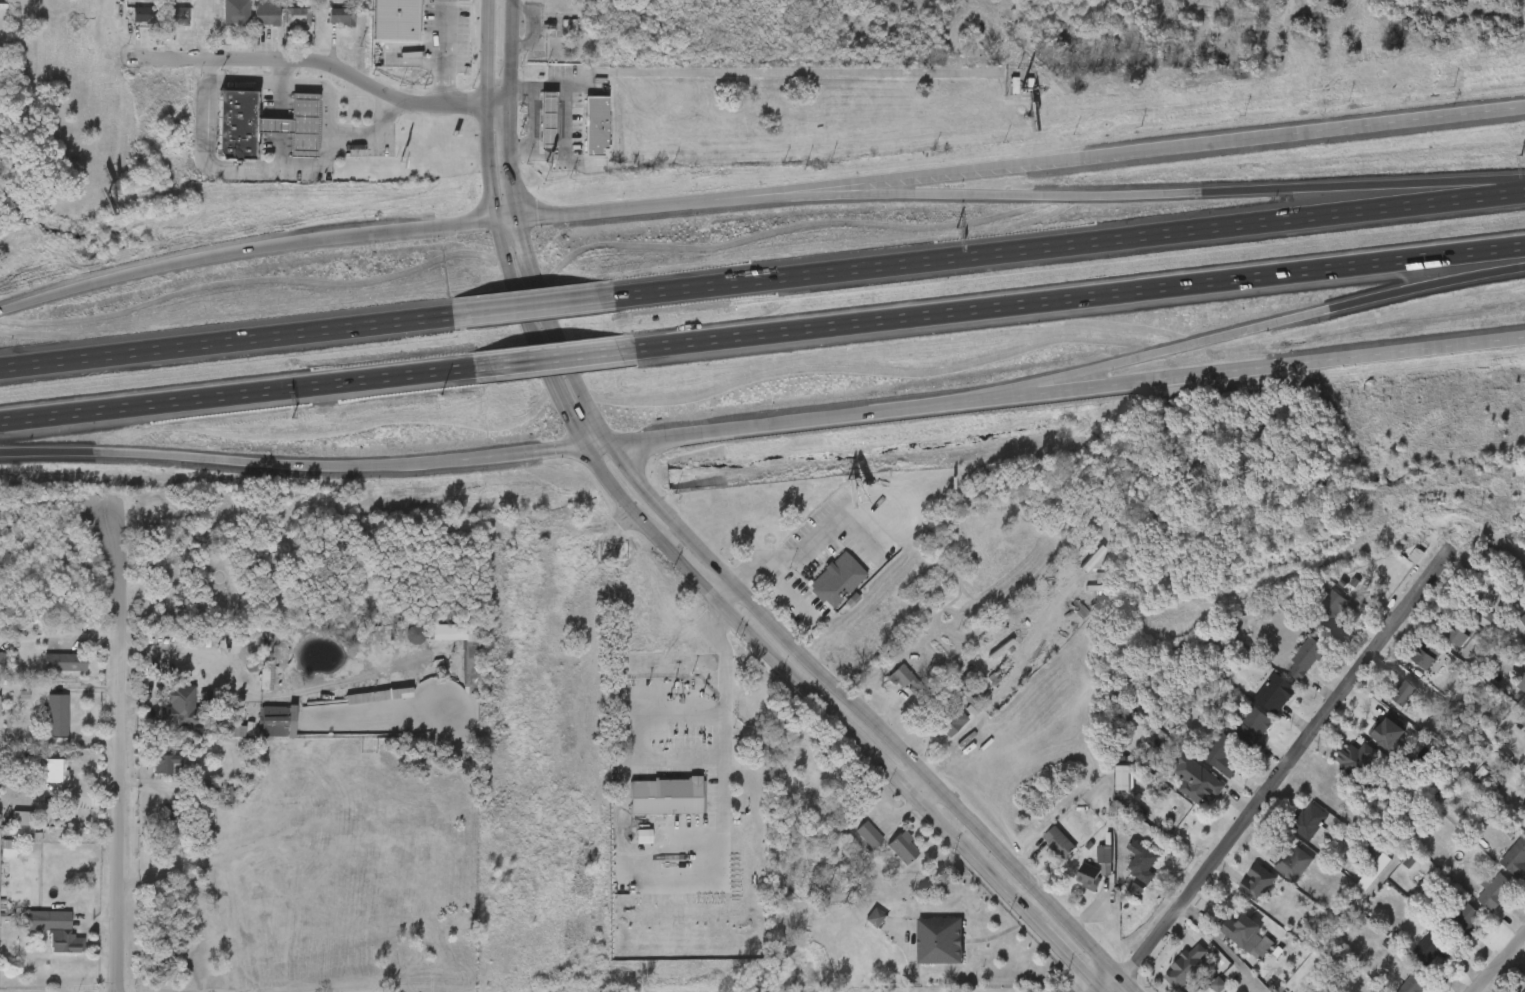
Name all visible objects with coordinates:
building: (257, 0)
building: (220, 21)
building: (128, 24)
building: (250, 24)
building: (161, 25)
building: (378, 25)
building: (282, 27)
building: (324, 28)
road: (444, 52)
road: (312, 58)
road: (284, 70)
road: (296, 82)
road: (570, 117)
road: (532, 118)
building: (531, 131)
gas station: (531, 131)
building: (280, 134)
gas station: (280, 134)
building: (219, 135)
building: (579, 135)
road: (1108, 153)
road: (281, 169)
road: (1108, 194)
road: (604, 208)
road: (504, 218)
road: (1072, 242)
road: (242, 248)
road: (1079, 295)
road: (540, 305)
road: (1267, 323)
road: (230, 340)
road: (559, 356)
road: (1053, 387)
road: (242, 392)
road: (291, 465)
road: (808, 532)
road: (702, 552)
road: (672, 554)
building: (819, 589)
road: (726, 594)
building: (1332, 607)
building: (1313, 620)
building: (1522, 623)
building: (1462, 631)
building: (1514, 636)
building: (1440, 646)
building: (856, 649)
building: (1429, 654)
building: (1304, 658)
building: (64, 661)
building: (1409, 665)
building: (1288, 668)
building: (48, 672)
building: (455, 675)
road: (727, 682)
building: (250, 686)
building: (1509, 690)
building: (891, 692)
building: (1405, 692)
building: (1273, 694)
building: (1258, 703)
building: (1387, 703)
building: (184, 707)
road: (1517, 707)
building: (56, 713)
building: (164, 718)
building: (274, 721)
building: (1254, 724)
building: (41, 725)
building: (934, 730)
building: (260, 731)
building: (1236, 735)
building: (1370, 742)
road: (113, 754)
building: (1138, 754)
building: (1222, 754)
building: (166, 763)
building: (1524, 764)
building: (1204, 765)
building: (53, 766)
building: (1338, 769)
building: (148, 773)
road: (1281, 774)
building: (38, 780)
building: (1202, 786)
building: (206, 787)
building: (1178, 788)
road: (915, 791)
building: (667, 795)
building: (1310, 822)
building: (6, 827)
building: (1291, 831)
building: (1519, 837)
building: (852, 844)
building: (0, 851)
building: (1041, 852)
building: (1072, 854)
building: (886, 857)
building: (1516, 859)
building: (1295, 863)
building: (1087, 866)
building: (1501, 867)
building: (1277, 874)
building: (1123, 877)
building: (1258, 882)
building: (1071, 887)
building: (1240, 892)
building: (1496, 892)
building: (1477, 901)
building: (1465, 922)
building: (858, 927)
building: (1448, 929)
building: (63, 935)
building: (38, 939)
building: (1225, 942)
road: (1224, 947)
building: (1433, 947)
building: (922, 951)
building: (1246, 956)
building: (1415, 957)
road: (1497, 960)
building: (1187, 967)
building: (1169, 976)
building: (1522, 981)
building: (1416, 982)
road: (1103, 987)
building: (1399, 987)
building: (1200, 990)
building: (1524, 991)

